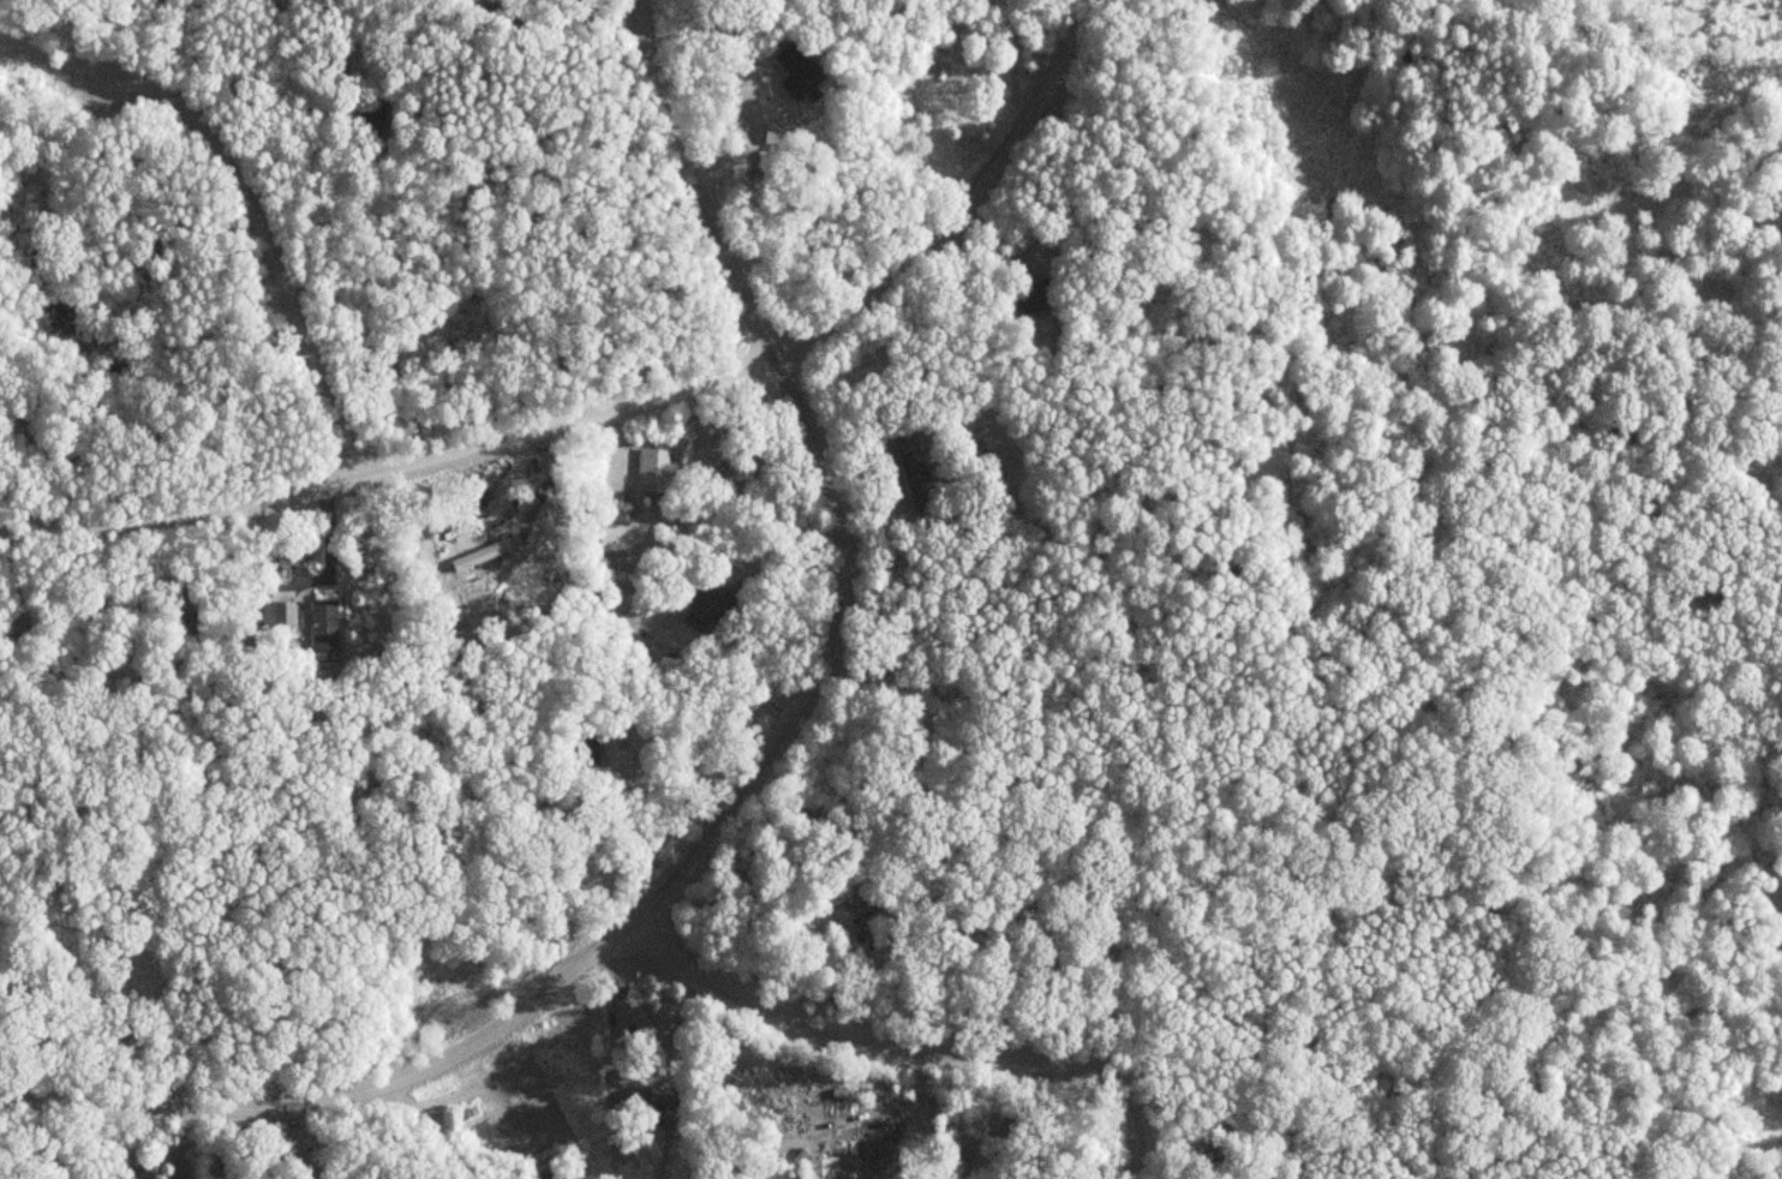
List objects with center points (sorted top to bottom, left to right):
building: (506, 16)
building: (797, 77)
building: (378, 108)
road: (959, 204)
road: (263, 250)
building: (1033, 297)
road: (389, 463)
building: (658, 467)
building: (916, 467)
building: (615, 480)
road: (825, 480)
building: (616, 533)
building: (482, 555)
building: (706, 604)
building: (280, 614)
building: (327, 626)
building: (586, 752)
building: (825, 898)
building: (1044, 923)
building: (633, 1019)
road: (905, 1048)
road: (337, 1097)
building: (663, 1103)
building: (823, 1168)

